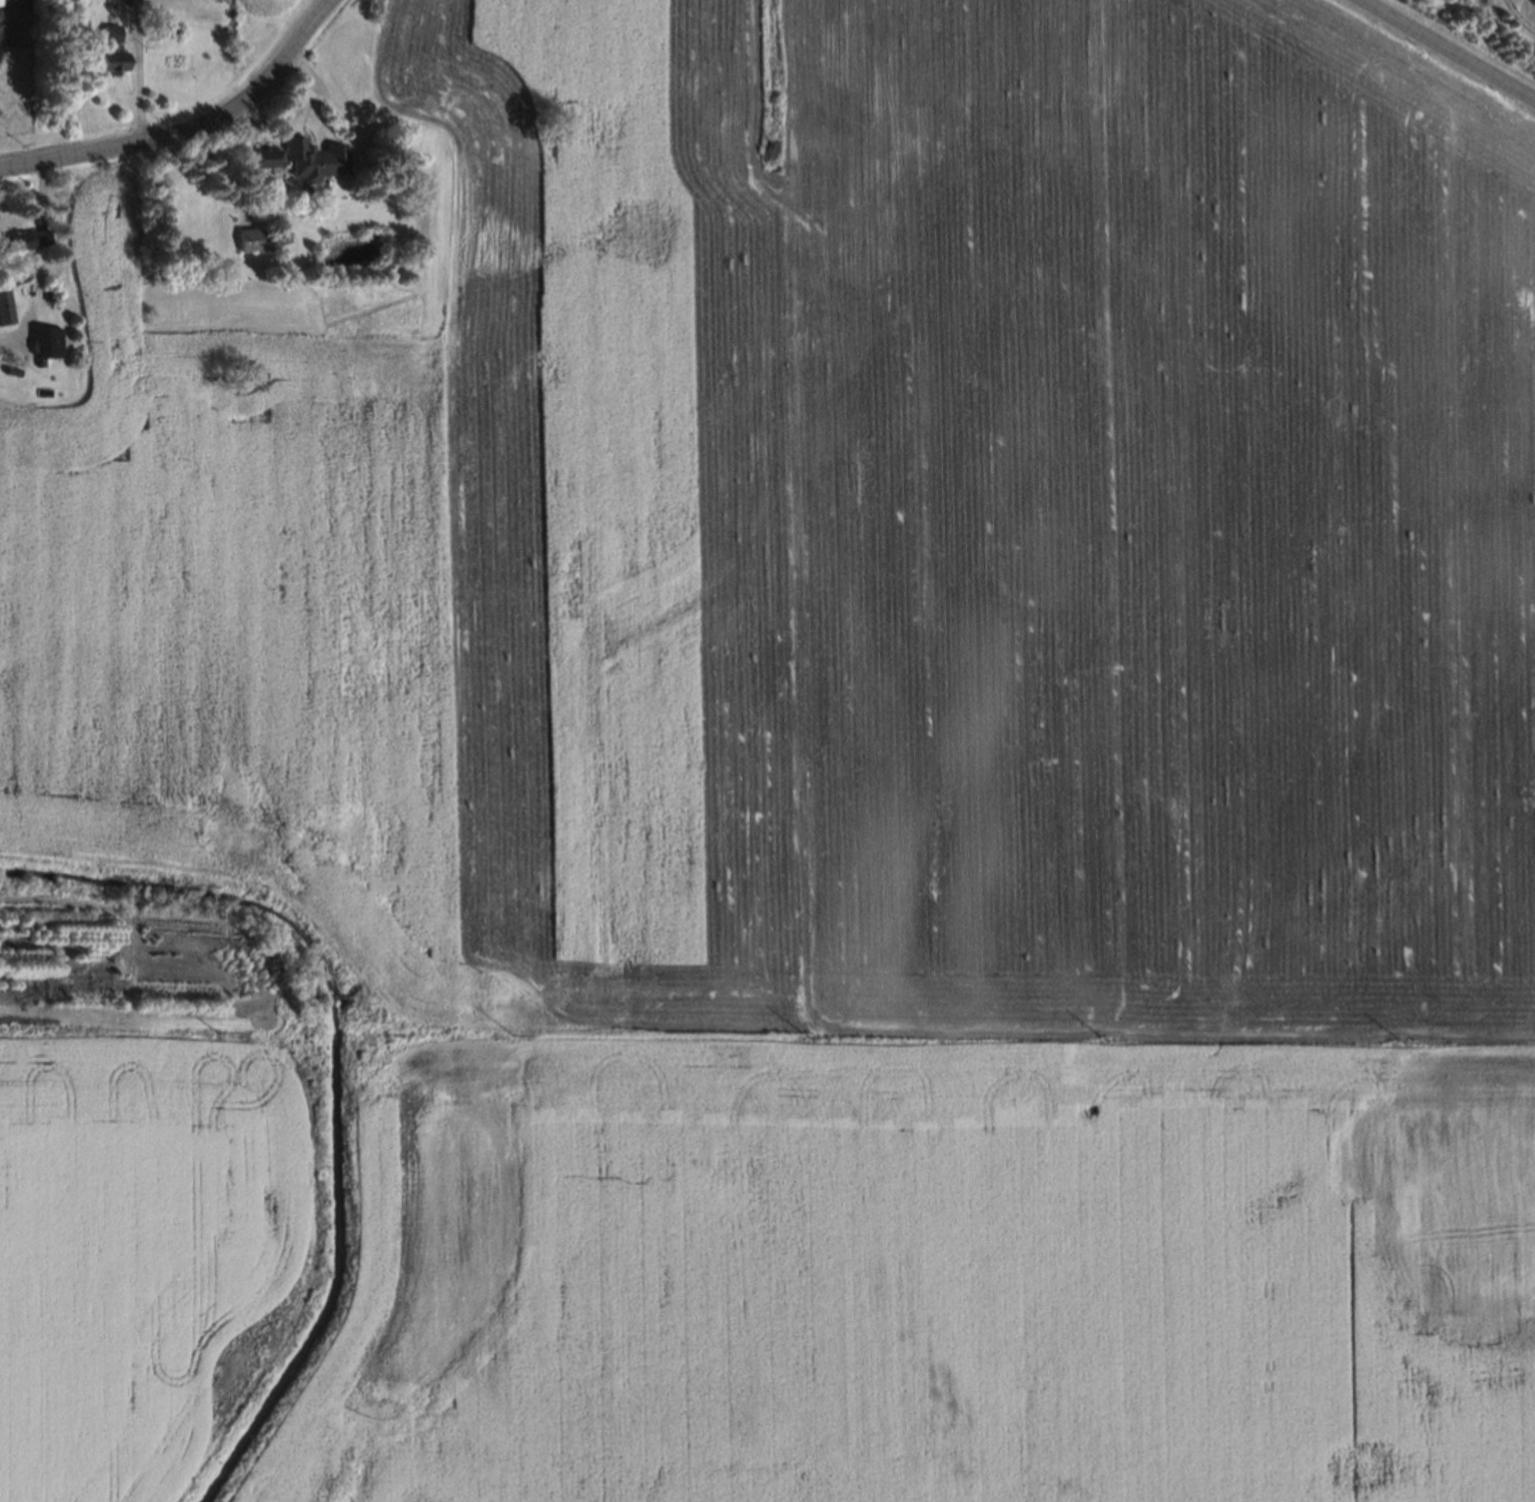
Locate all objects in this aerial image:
building: (162, 28)
building: (108, 48)
road: (1447, 50)
road: (142, 69)
road: (193, 129)
building: (262, 158)
building: (312, 158)
building: (252, 237)
building: (24, 238)
building: (44, 295)
building: (3, 305)
road: (1, 339)
building: (43, 343)
building: (9, 372)

